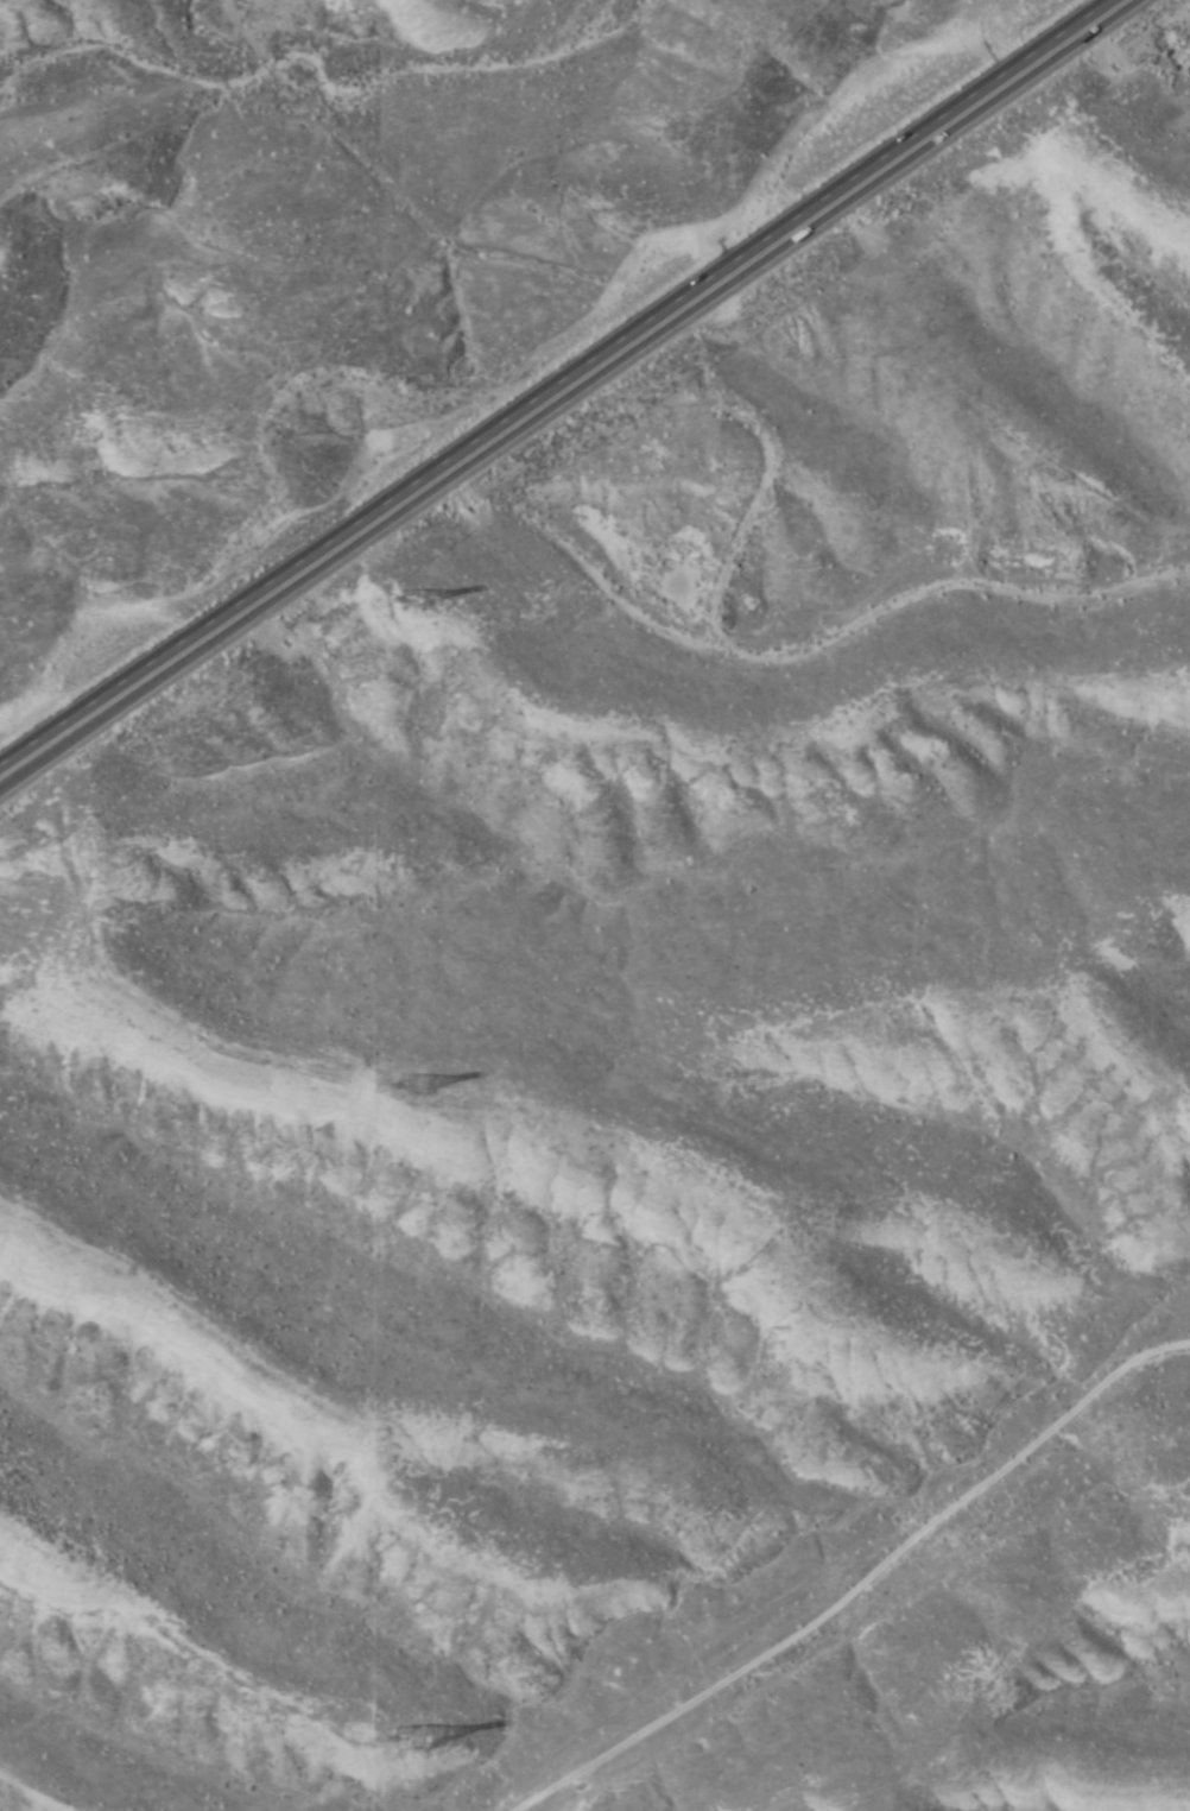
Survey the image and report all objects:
road: (563, 386)
road: (911, 551)
power tower: (412, 601)
power tower: (414, 1083)
crop: (659, 1132)
road: (931, 1607)
power tower: (413, 1737)

